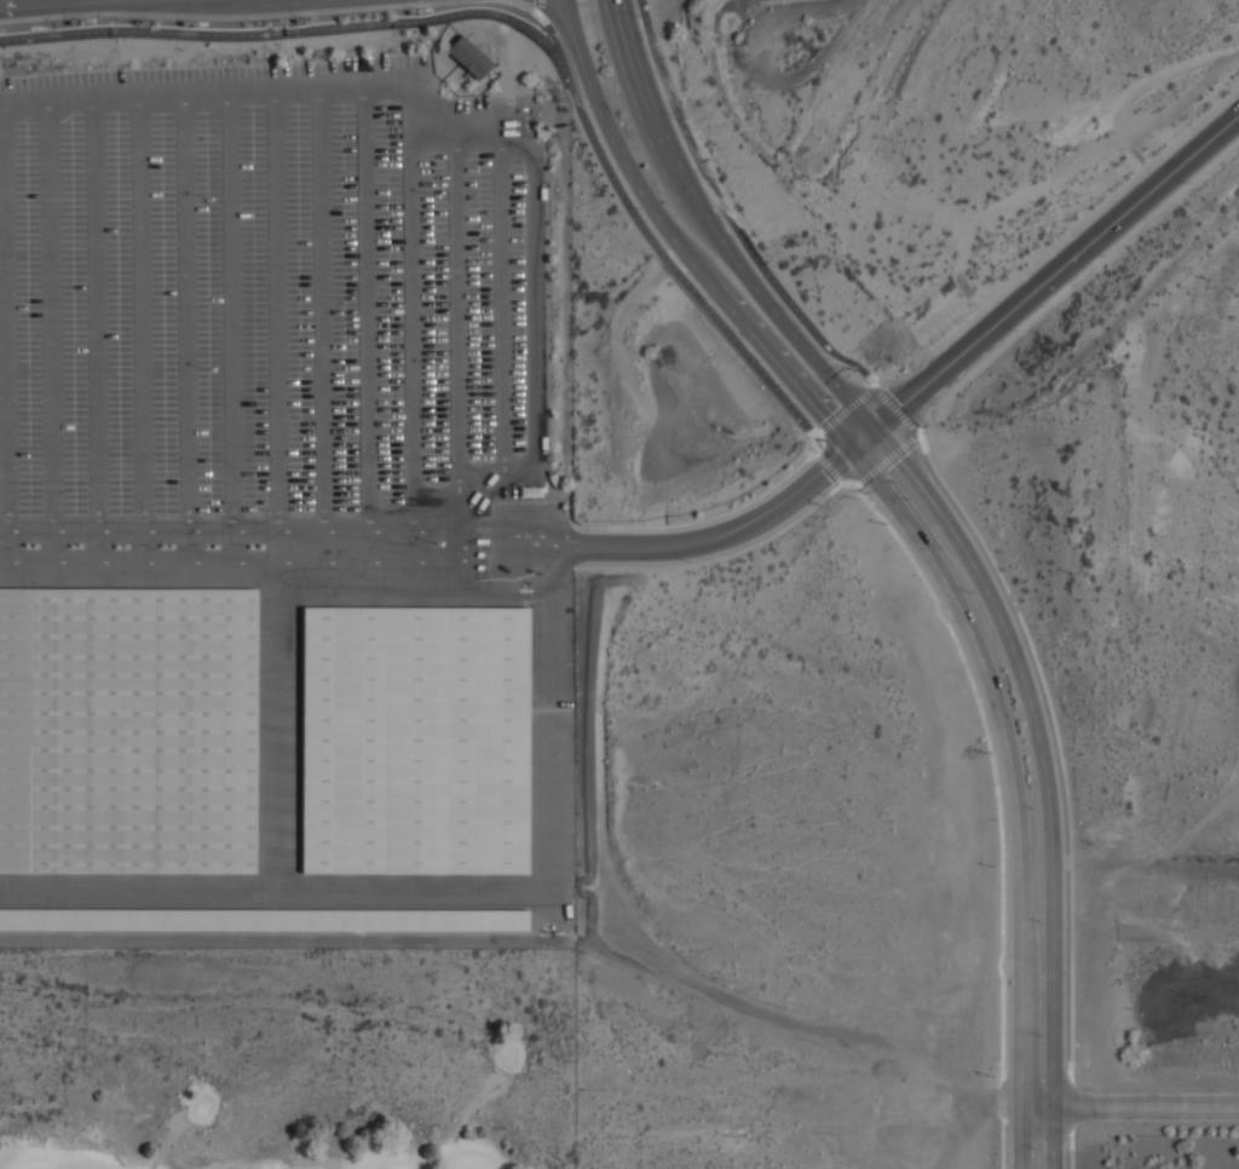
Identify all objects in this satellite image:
road: (564, 21)
road: (293, 33)
building: (469, 57)
road: (206, 92)
road: (652, 98)
road: (732, 228)
road: (662, 243)
road: (675, 243)
road: (1055, 271)
road: (531, 281)
road: (501, 307)
road: (321, 309)
road: (276, 310)
road: (365, 310)
road: (229, 311)
road: (186, 312)
road: (140, 313)
road: (96, 315)
road: (51, 316)
road: (5, 317)
road: (457, 318)
road: (413, 332)
road: (617, 352)
road: (628, 375)
traffic signals: (874, 428)
traffic signals: (849, 449)
parking lot: (280, 508)
road: (495, 523)
road: (737, 528)
road: (218, 531)
road: (506, 534)
building: (482, 541)
road: (7, 546)
road: (51, 546)
road: (97, 546)
road: (140, 546)
road: (188, 546)
road: (232, 546)
road: (501, 547)
building: (479, 554)
road: (505, 560)
road: (219, 562)
building: (479, 566)
road: (505, 572)
road: (508, 594)
road: (992, 604)
building: (127, 731)
building: (416, 739)
road: (1009, 756)
building: (265, 917)
park: (286, 1058)
road: (1039, 1106)
road: (1147, 1106)
road: (1022, 1138)
road: (1055, 1138)

